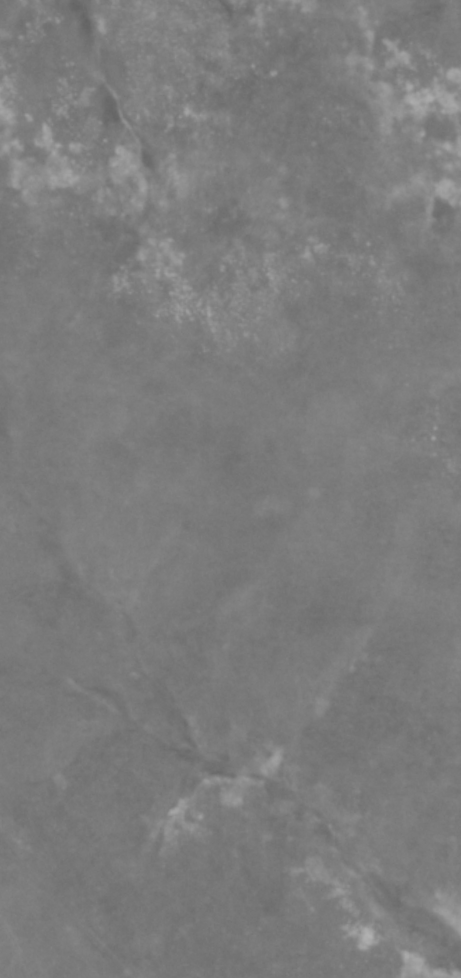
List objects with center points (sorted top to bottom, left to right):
road: (57, 905)

